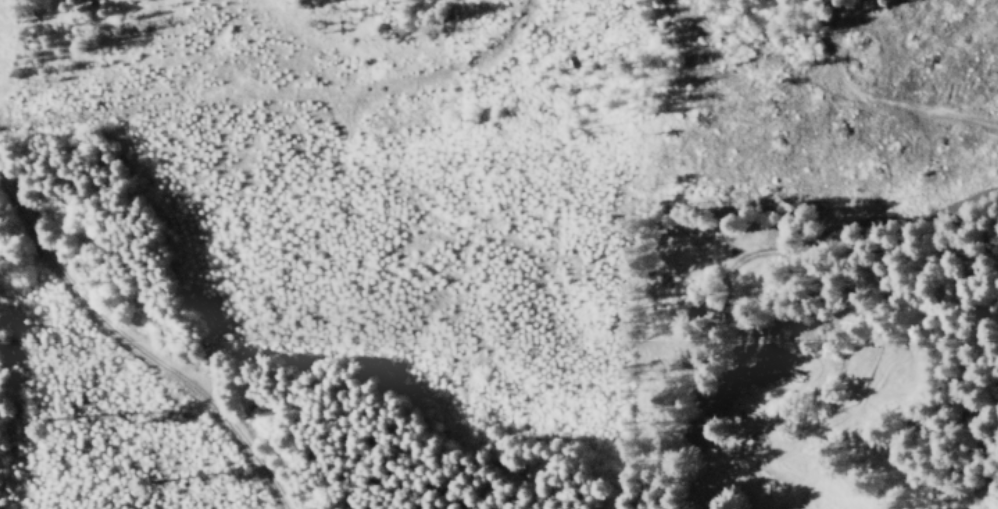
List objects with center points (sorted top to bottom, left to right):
building: (765, 364)
building: (696, 432)

